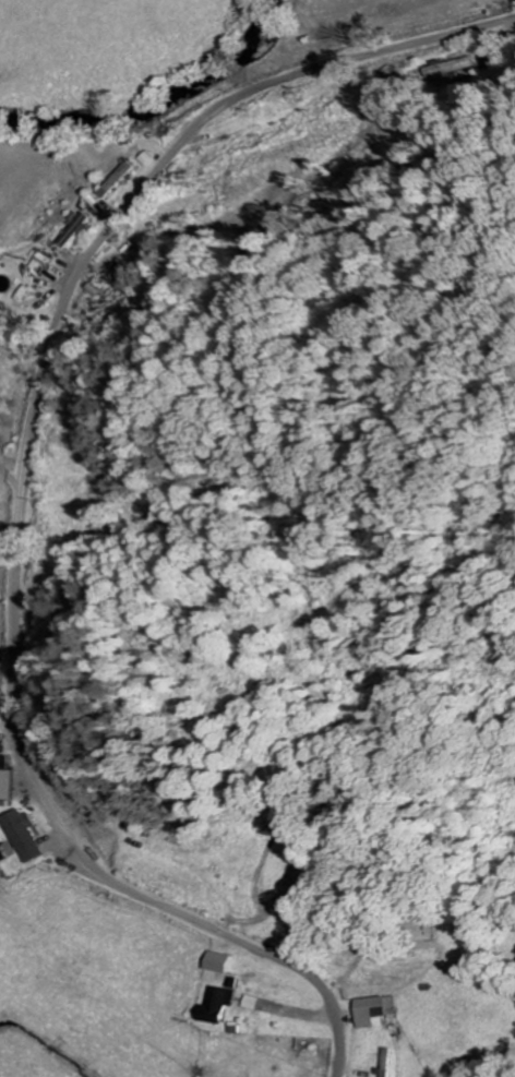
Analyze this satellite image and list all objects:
building: (446, 67)
building: (147, 159)
building: (120, 178)
building: (77, 231)
road: (23, 489)
building: (7, 779)
building: (24, 836)
building: (213, 964)
building: (245, 1004)
building: (213, 1006)

